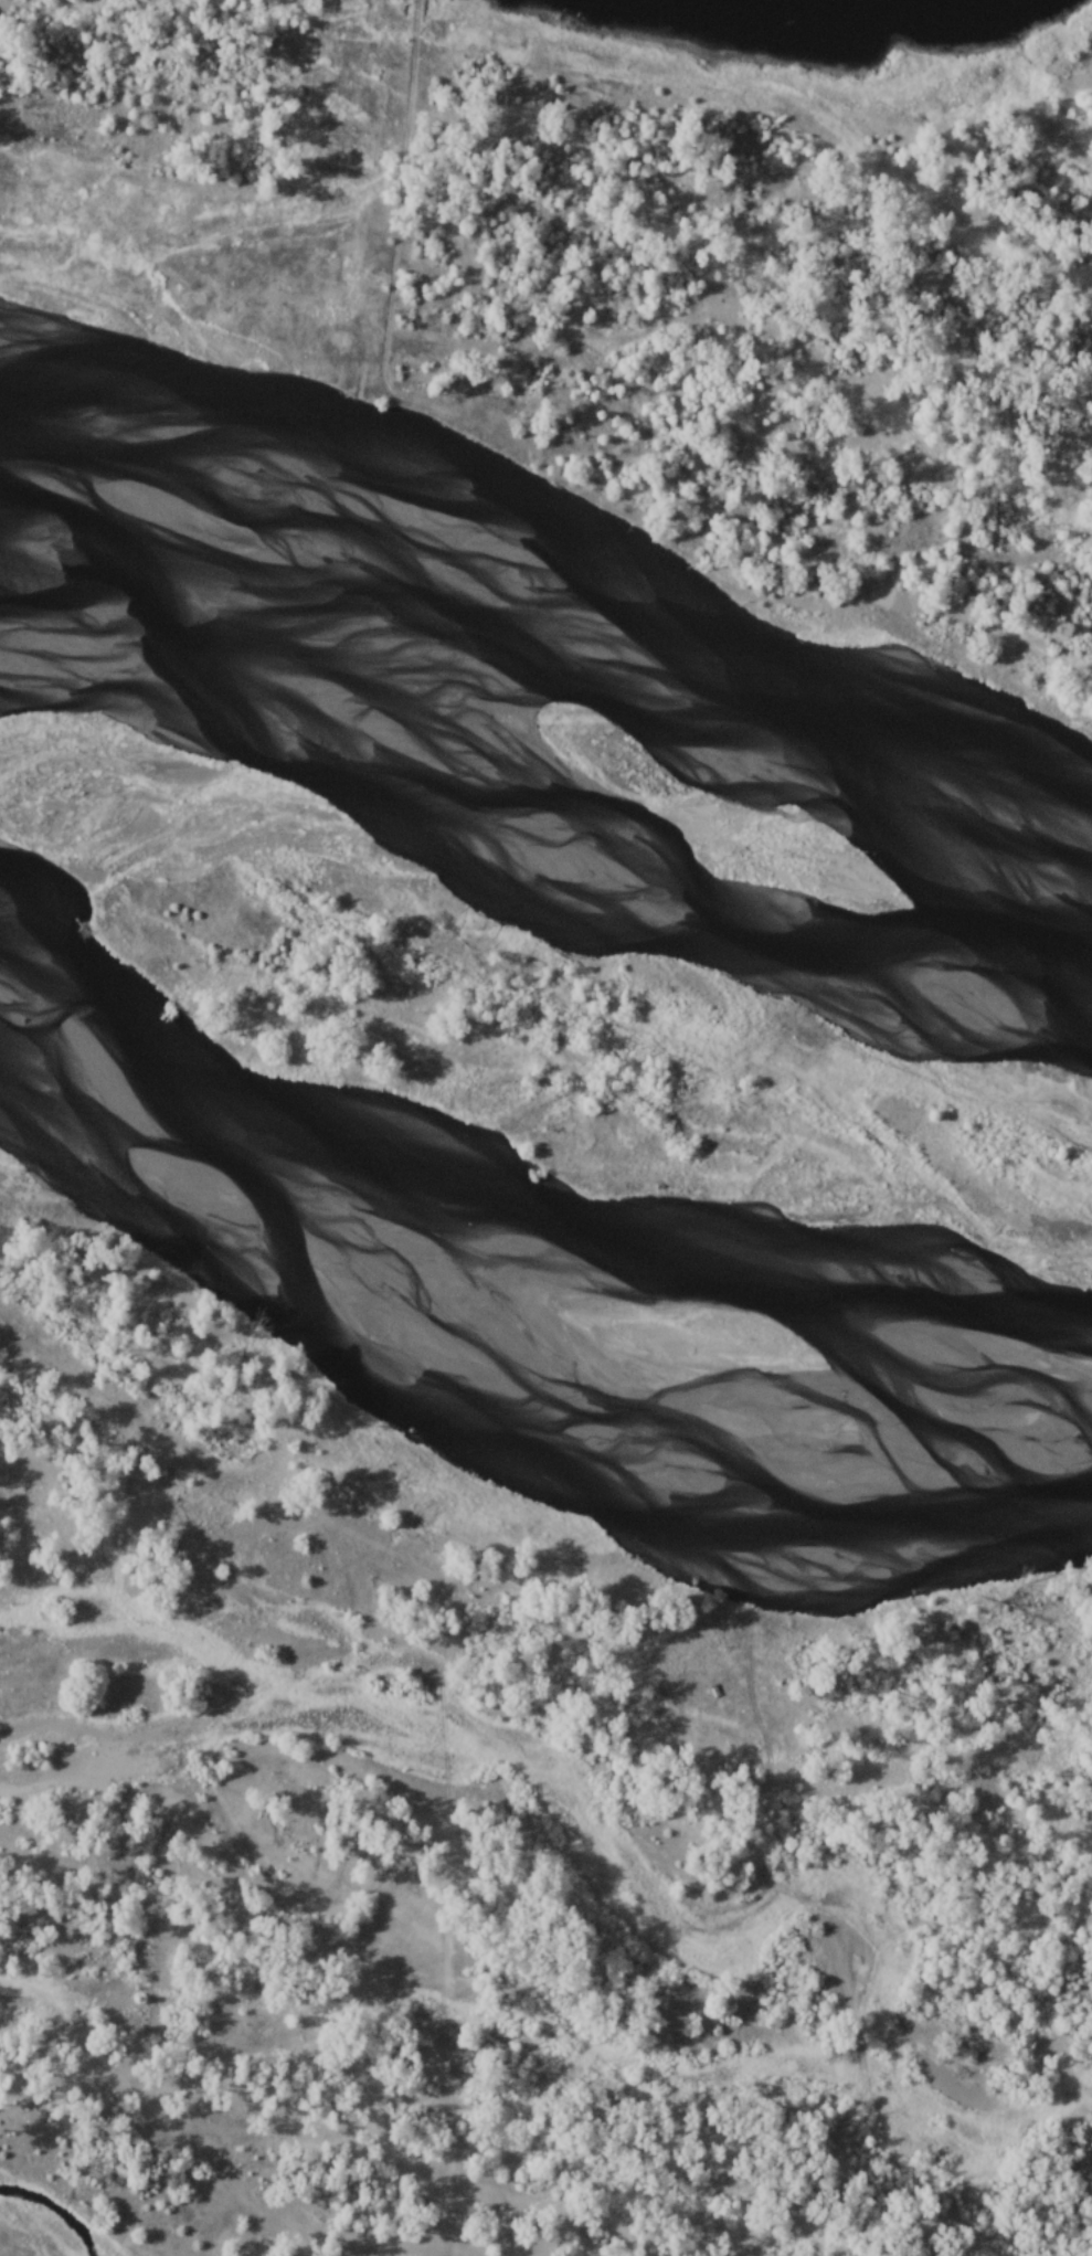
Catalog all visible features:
river: (543, 832)

